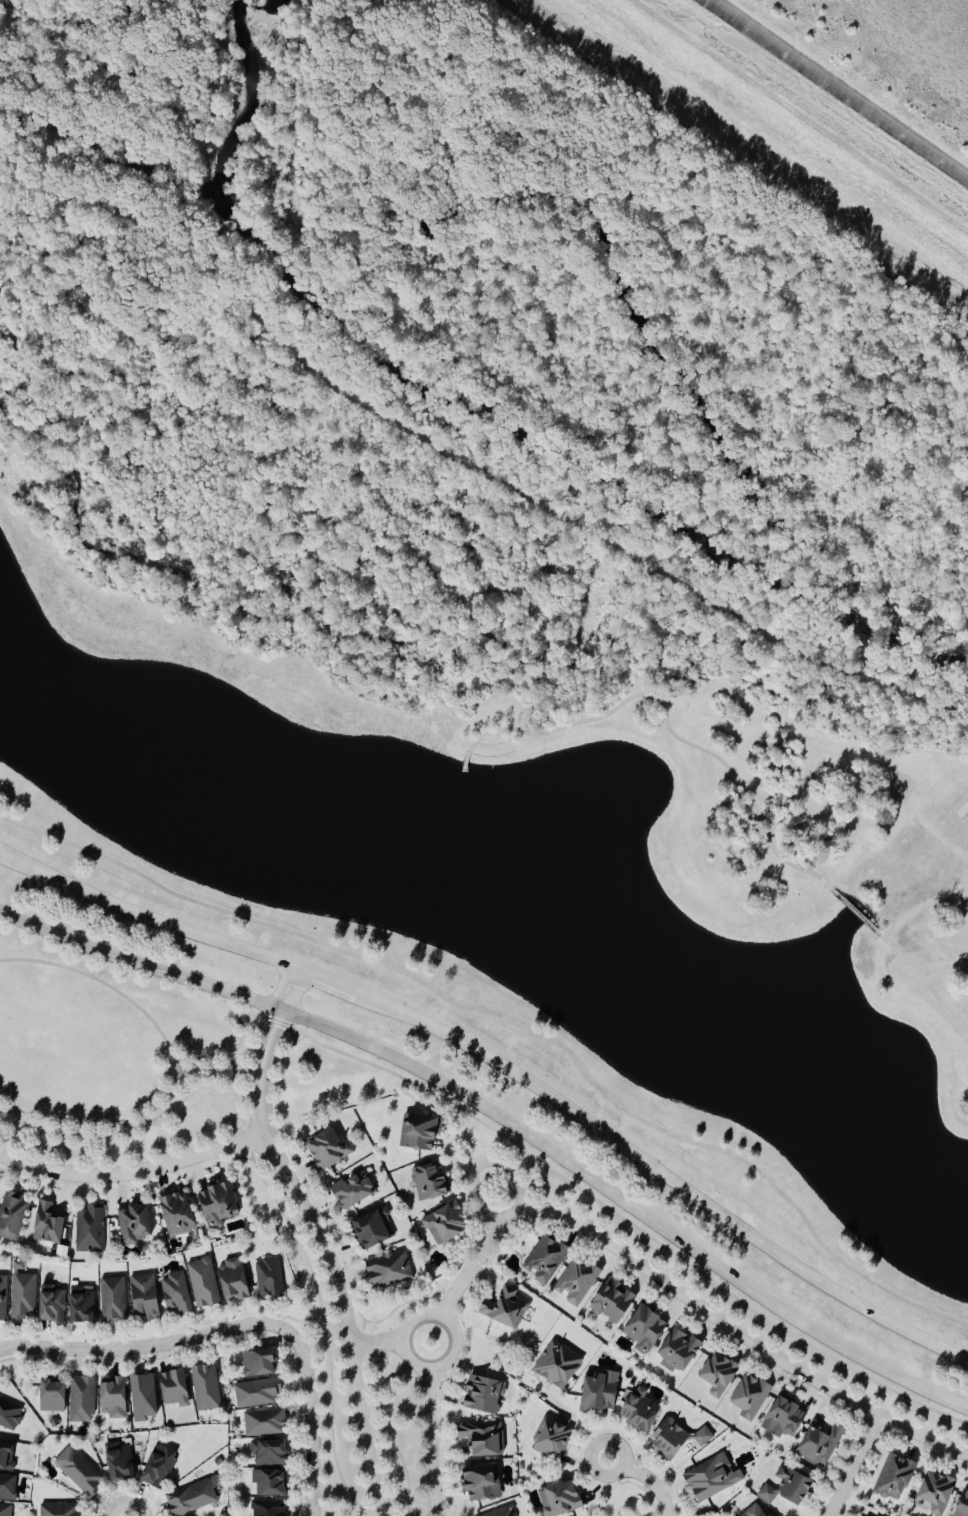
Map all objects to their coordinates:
river: (469, 402)
road: (471, 460)
road: (614, 643)
road: (504, 737)
road: (685, 739)
road: (475, 743)
road: (859, 913)
road: (146, 918)
road: (921, 965)
road: (327, 979)
road: (513, 1022)
road: (232, 1059)
park: (120, 1060)
road: (172, 1064)
road: (192, 1070)
road: (211, 1070)
road: (202, 1071)
road: (504, 1119)
road: (8, 1120)
building: (420, 1132)
building: (328, 1149)
road: (481, 1163)
road: (134, 1173)
road: (662, 1173)
building: (429, 1183)
building: (354, 1190)
building: (218, 1203)
building: (179, 1214)
building: (11, 1215)
road: (624, 1220)
building: (48, 1224)
building: (134, 1224)
building: (446, 1224)
building: (89, 1229)
building: (371, 1230)
road: (319, 1237)
building: (546, 1259)
building: (389, 1270)
building: (268, 1278)
building: (233, 1280)
building: (577, 1281)
building: (203, 1283)
building: (176, 1293)
road: (685, 1295)
building: (21, 1296)
building: (144, 1297)
building: (2, 1298)
building: (113, 1300)
building: (614, 1302)
building: (52, 1304)
building: (83, 1304)
building: (505, 1308)
building: (646, 1329)
road: (376, 1343)
road: (145, 1347)
building: (679, 1351)
road: (413, 1362)
building: (258, 1363)
building: (559, 1365)
building: (720, 1375)
building: (175, 1388)
building: (205, 1388)
building: (257, 1392)
building: (600, 1392)
building: (484, 1395)
building: (53, 1396)
building: (749, 1396)
building: (113, 1397)
building: (143, 1397)
building: (82, 1399)
building: (640, 1411)
building: (9, 1416)
building: (784, 1418)
road: (311, 1420)
building: (264, 1423)
road: (580, 1423)
building: (552, 1438)
building: (482, 1439)
building: (678, 1439)
road: (432, 1442)
building: (820, 1445)
building: (269, 1453)
building: (7, 1456)
building: (121, 1461)
road: (856, 1466)
building: (159, 1467)
building: (78, 1472)
building: (713, 1477)
road: (648, 1478)
building: (895, 1478)
building: (483, 1483)
building: (268, 1484)
building: (8, 1486)
building: (789, 1488)
building: (938, 1493)
building: (193, 1497)
building: (560, 1499)
building: (268, 1508)
building: (59, 1509)
building: (5, 1510)
building: (756, 1511)
building: (501, 1512)

